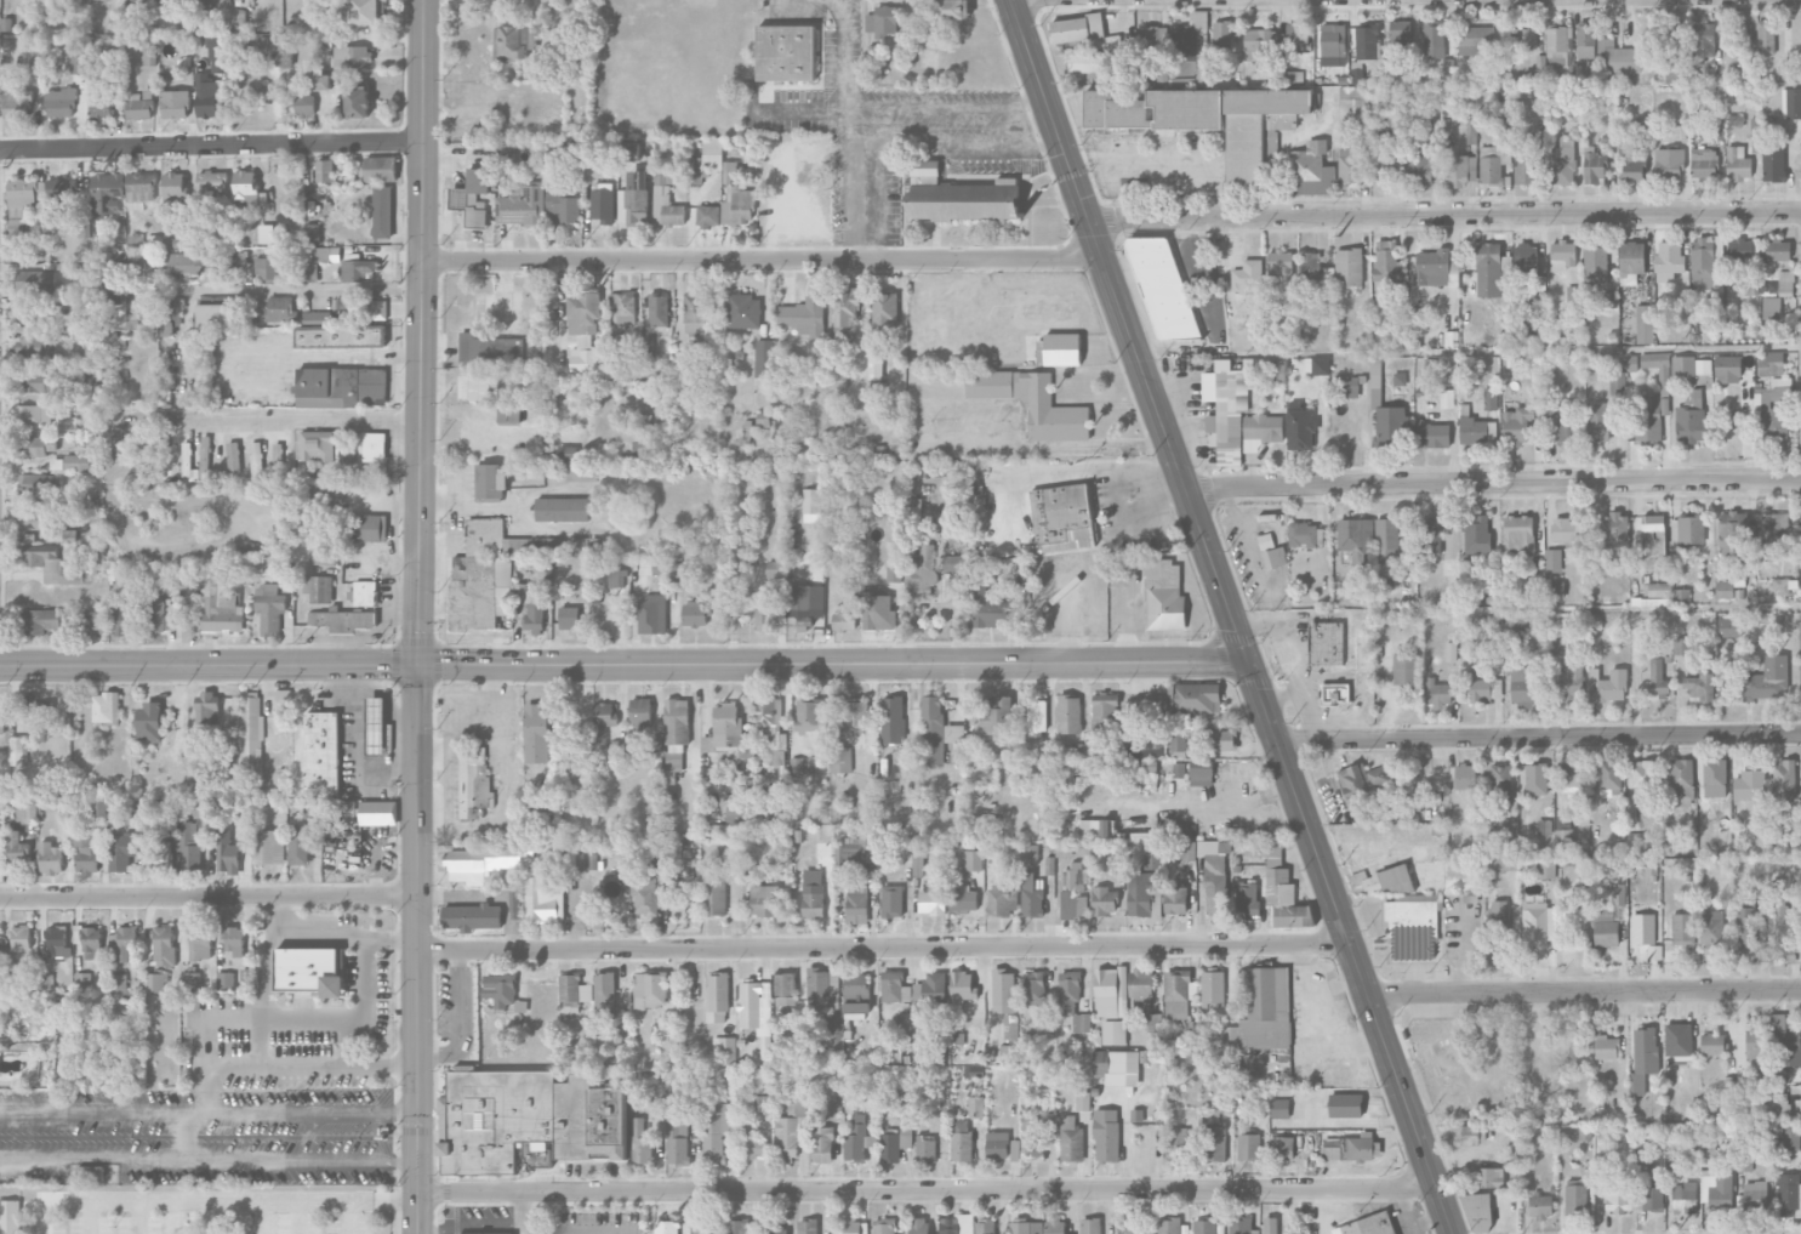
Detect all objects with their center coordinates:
building: (948, 8)
building: (365, 11)
building: (883, 23)
building: (325, 27)
building: (1077, 30)
building: (1222, 34)
building: (1398, 34)
building: (1296, 36)
building: (1766, 36)
building: (1191, 38)
building: (1523, 38)
building: (1474, 39)
building: (1585, 40)
building: (513, 41)
building: (1367, 41)
building: (1434, 41)
building: (1703, 41)
building: (1671, 42)
building: (1330, 44)
building: (1260, 46)
building: (1146, 47)
building: (1558, 50)
building: (786, 52)
building: (215, 53)
building: (284, 53)
building: (149, 56)
building: (352, 56)
building: (1622, 58)
building: (1093, 63)
building: (78, 64)
building: (1789, 69)
building: (323, 81)
building: (765, 90)
building: (1353, 92)
building: (207, 97)
building: (59, 102)
building: (302, 102)
building: (354, 102)
building: (16, 103)
building: (175, 103)
building: (1791, 103)
building: (139, 104)
building: (101, 107)
building: (1196, 108)
building: (1355, 115)
road: (951, 118)
road: (850, 127)
building: (1503, 132)
road: (212, 144)
building: (506, 148)
building: (629, 150)
building: (708, 157)
building: (1383, 161)
building: (1562, 161)
building: (1669, 163)
building: (1704, 163)
building: (1350, 164)
building: (1418, 164)
building: (1489, 164)
building: (1737, 164)
building: (1773, 164)
building: (1634, 166)
building: (1313, 167)
building: (1524, 167)
building: (1594, 167)
building: (380, 169)
building: (1459, 169)
building: (324, 170)
building: (729, 172)
building: (211, 182)
building: (141, 187)
building: (175, 188)
building: (247, 190)
building: (61, 192)
building: (107, 195)
building: (473, 197)
building: (959, 198)
building: (665, 201)
building: (602, 203)
building: (522, 204)
building: (562, 204)
building: (23, 205)
building: (633, 206)
building: (737, 206)
building: (382, 211)
road: (1446, 214)
building: (708, 215)
building: (82, 231)
building: (313, 232)
building: (266, 233)
building: (182, 240)
building: (1778, 249)
building: (1742, 251)
building: (1562, 255)
building: (317, 258)
building: (238, 260)
building: (1385, 260)
building: (204, 261)
road: (764, 261)
building: (1524, 261)
building: (1668, 261)
building: (178, 262)
building: (1279, 262)
building: (1596, 262)
building: (1630, 262)
building: (1703, 263)
building: (266, 267)
building: (1349, 267)
building: (1432, 267)
building: (359, 268)
building: (1493, 269)
building: (1316, 273)
building: (1247, 277)
building: (36, 280)
building: (1785, 280)
building: (1163, 288)
building: (1751, 288)
building: (113, 290)
road: (308, 291)
building: (1609, 298)
building: (131, 305)
building: (1771, 307)
building: (41, 309)
building: (280, 309)
building: (376, 309)
building: (657, 309)
building: (884, 309)
building: (743, 311)
building: (696, 312)
building: (844, 313)
building: (170, 314)
building: (216, 314)
building: (622, 314)
building: (804, 317)
building: (1645, 324)
building: (582, 326)
road: (421, 330)
building: (336, 331)
building: (1451, 331)
building: (1504, 340)
building: (34, 347)
building: (489, 348)
building: (1058, 349)
road: (325, 357)
building: (763, 358)
building: (1769, 363)
building: (1316, 365)
building: (1688, 365)
building: (1727, 369)
building: (1277, 371)
building: (1377, 371)
building: (839, 374)
building: (1400, 379)
building: (876, 380)
building: (38, 381)
building: (474, 386)
building: (1346, 386)
building: (341, 387)
building: (553, 393)
building: (1446, 398)
building: (1489, 398)
building: (1652, 399)
building: (1032, 403)
building: (1231, 406)
building: (1771, 409)
road: (457, 411)
building: (36, 414)
building: (509, 414)
building: (1689, 416)
road: (318, 419)
building: (1565, 421)
building: (68, 422)
building: (1597, 422)
building: (1392, 423)
building: (1517, 425)
building: (1300, 426)
building: (1476, 428)
building: (1261, 431)
building: (640, 433)
road: (494, 434)
building: (1434, 434)
building: (158, 442)
building: (116, 443)
building: (36, 445)
building: (315, 447)
building: (375, 447)
building: (565, 453)
building: (278, 455)
building: (234, 457)
building: (256, 459)
building: (76, 461)
building: (205, 461)
building: (188, 462)
building: (57, 464)
road: (1068, 465)
building: (580, 473)
road: (1497, 480)
building: (491, 482)
building: (39, 483)
building: (327, 496)
building: (811, 500)
building: (562, 508)
building: (1061, 518)
building: (34, 519)
building: (1652, 523)
building: (366, 528)
building: (1563, 529)
building: (1691, 529)
building: (1733, 530)
building: (1476, 533)
building: (1615, 533)
building: (1304, 534)
building: (1518, 534)
building: (1355, 535)
building: (1429, 535)
building: (1772, 536)
building: (1386, 539)
building: (591, 545)
road: (1096, 552)
building: (1272, 552)
building: (326, 555)
building: (1552, 561)
building: (952, 563)
building: (57, 568)
building: (679, 569)
building: (893, 573)
building: (921, 573)
building: (483, 575)
building: (617, 578)
building: (1384, 582)
building: (1780, 584)
building: (319, 588)
building: (1555, 588)
building: (1723, 590)
building: (1652, 591)
building: (365, 592)
building: (1164, 596)
building: (1680, 596)
building: (273, 603)
building: (799, 604)
building: (990, 609)
building: (221, 610)
building: (878, 612)
building: (651, 614)
building: (695, 614)
building: (535, 615)
building: (764, 615)
road: (1238, 615)
building: (161, 616)
building: (569, 616)
building: (120, 618)
building: (44, 620)
building: (342, 620)
building: (87, 621)
building: (843, 621)
building: (1729, 627)
building: (1554, 641)
building: (1323, 643)
building: (1681, 646)
building: (1451, 652)
road: (834, 660)
road: (209, 663)
traffic signals: (417, 663)
building: (1404, 667)
building: (1658, 678)
building: (1766, 678)
building: (1571, 682)
building: (1526, 686)
building: (1608, 686)
building: (1699, 687)
building: (1484, 689)
building: (1334, 693)
building: (1437, 693)
building: (281, 698)
building: (1197, 698)
building: (106, 706)
building: (30, 707)
building: (207, 707)
building: (1104, 710)
building: (640, 712)
building: (996, 713)
building: (1068, 713)
building: (1036, 715)
building: (854, 717)
building: (891, 718)
building: (1, 721)
building: (149, 721)
building: (602, 722)
building: (810, 722)
building: (376, 724)
building: (677, 724)
building: (728, 730)
building: (251, 733)
building: (536, 733)
building: (939, 734)
road: (1541, 735)
building: (771, 737)
building: (1178, 739)
building: (1216, 739)
building: (617, 746)
building: (17, 750)
building: (321, 754)
building: (840, 760)
building: (1149, 766)
building: (1179, 769)
building: (1201, 772)
building: (1464, 775)
building: (1572, 775)
building: (1643, 777)
building: (1609, 778)
building: (1715, 778)
building: (1362, 779)
building: (1535, 779)
building: (1784, 779)
building: (473, 780)
building: (1682, 781)
building: (280, 783)
building: (1500, 783)
building: (1749, 784)
building: (547, 806)
building: (204, 808)
building: (25, 809)
building: (378, 812)
building: (737, 814)
building: (330, 825)
building: (1096, 828)
building: (716, 830)
building: (1563, 830)
building: (1636, 840)
building: (190, 846)
building: (300, 846)
building: (17, 847)
building: (268, 847)
building: (121, 851)
building: (856, 851)
building: (1189, 851)
building: (87, 853)
building: (227, 853)
building: (1030, 853)
building: (158, 854)
building: (1152, 855)
building: (569, 857)
building: (51, 858)
building: (659, 858)
building: (973, 860)
building: (481, 861)
building: (1501, 861)
building: (918, 863)
building: (1546, 869)
building: (1390, 881)
building: (1214, 883)
building: (1283, 891)
building: (1075, 892)
building: (813, 893)
building: (1618, 893)
building: (1031, 894)
building: (648, 895)
building: (1142, 895)
road: (207, 897)
building: (541, 899)
building: (714, 899)
building: (933, 899)
building: (1175, 899)
building: (1247, 899)
building: (763, 900)
building: (856, 900)
building: (891, 900)
building: (963, 900)
building: (1104, 900)
building: (1002, 902)
building: (472, 917)
building: (1497, 920)
building: (1538, 923)
building: (1745, 925)
building: (1412, 926)
building: (1605, 927)
building: (1642, 928)
building: (1683, 928)
building: (1711, 928)
road: (346, 932)
building: (1784, 932)
building: (21, 938)
building: (233, 940)
building: (57, 942)
building: (121, 943)
building: (196, 943)
building: (161, 944)
road: (887, 945)
building: (92, 946)
road: (417, 948)
building: (1654, 951)
building: (309, 971)
building: (82, 979)
building: (46, 980)
building: (190, 980)
building: (226, 980)
building: (155, 982)
building: (817, 983)
building: (962, 985)
building: (1035, 985)
building: (894, 986)
building: (1140, 986)
building: (1212, 986)
building: (500, 989)
building: (650, 989)
building: (783, 989)
building: (930, 989)
road: (1588, 989)
building: (604, 990)
building: (717, 991)
building: (1003, 991)
building: (1110, 991)
building: (572, 993)
building: (855, 993)
building: (1178, 994)
building: (1071, 1000)
road: (361, 1003)
building: (750, 1003)
building: (1266, 1008)
road: (461, 1017)
building: (833, 1022)
building: (906, 1022)
building: (1113, 1031)
building: (799, 1034)
building: (1679, 1041)
building: (1786, 1041)
building: (1712, 1044)
building: (1757, 1045)
building: (1606, 1047)
building: (724, 1050)
building: (765, 1051)
building: (1642, 1059)
road: (199, 1060)
building: (1117, 1067)
building: (1748, 1077)
building: (1083, 1101)
building: (1345, 1105)
building: (1778, 1105)
building: (975, 1107)
building: (1279, 1108)
road: (209, 1109)
road: (357, 1118)
building: (528, 1120)
building: (790, 1128)
building: (716, 1130)
road: (308, 1133)
building: (1106, 1135)
building: (1466, 1135)
building: (1786, 1136)
building: (678, 1139)
building: (857, 1139)
building: (1071, 1139)
building: (896, 1141)
building: (961, 1141)
building: (640, 1142)
building: (1031, 1142)
building: (752, 1143)
building: (1178, 1143)
building: (1214, 1143)
building: (821, 1144)
building: (997, 1145)
building: (1248, 1147)
building: (1363, 1147)
building: (925, 1148)
building: (1283, 1148)
building: (1332, 1148)
road: (209, 1158)
building: (1743, 1162)
building: (90, 1172)
building: (1488, 1177)
road: (930, 1188)
building: (1716, 1189)
building: (1619, 1195)
building: (1652, 1195)
building: (1789, 1195)
building: (1575, 1196)
building: (1755, 1196)
building: (1683, 1198)
road: (215, 1199)
building: (1540, 1206)
building: (1478, 1212)
building: (10, 1216)
road: (87, 1216)
road: (137, 1216)
road: (298, 1216)
road: (348, 1216)
building: (958, 1224)
building: (1270, 1224)
building: (1368, 1224)
building: (883, 1226)
building: (919, 1226)
building: (984, 1226)
building: (1055, 1226)
building: (1090, 1226)
building: (1133, 1226)
building: (1168, 1226)
building: (1204, 1226)
building: (1239, 1226)
building: (665, 1227)
building: (737, 1227)
building: (773, 1227)
building: (808, 1227)
building: (851, 1227)
building: (1025, 1227)
building: (700, 1230)
building: (506, 1233)

